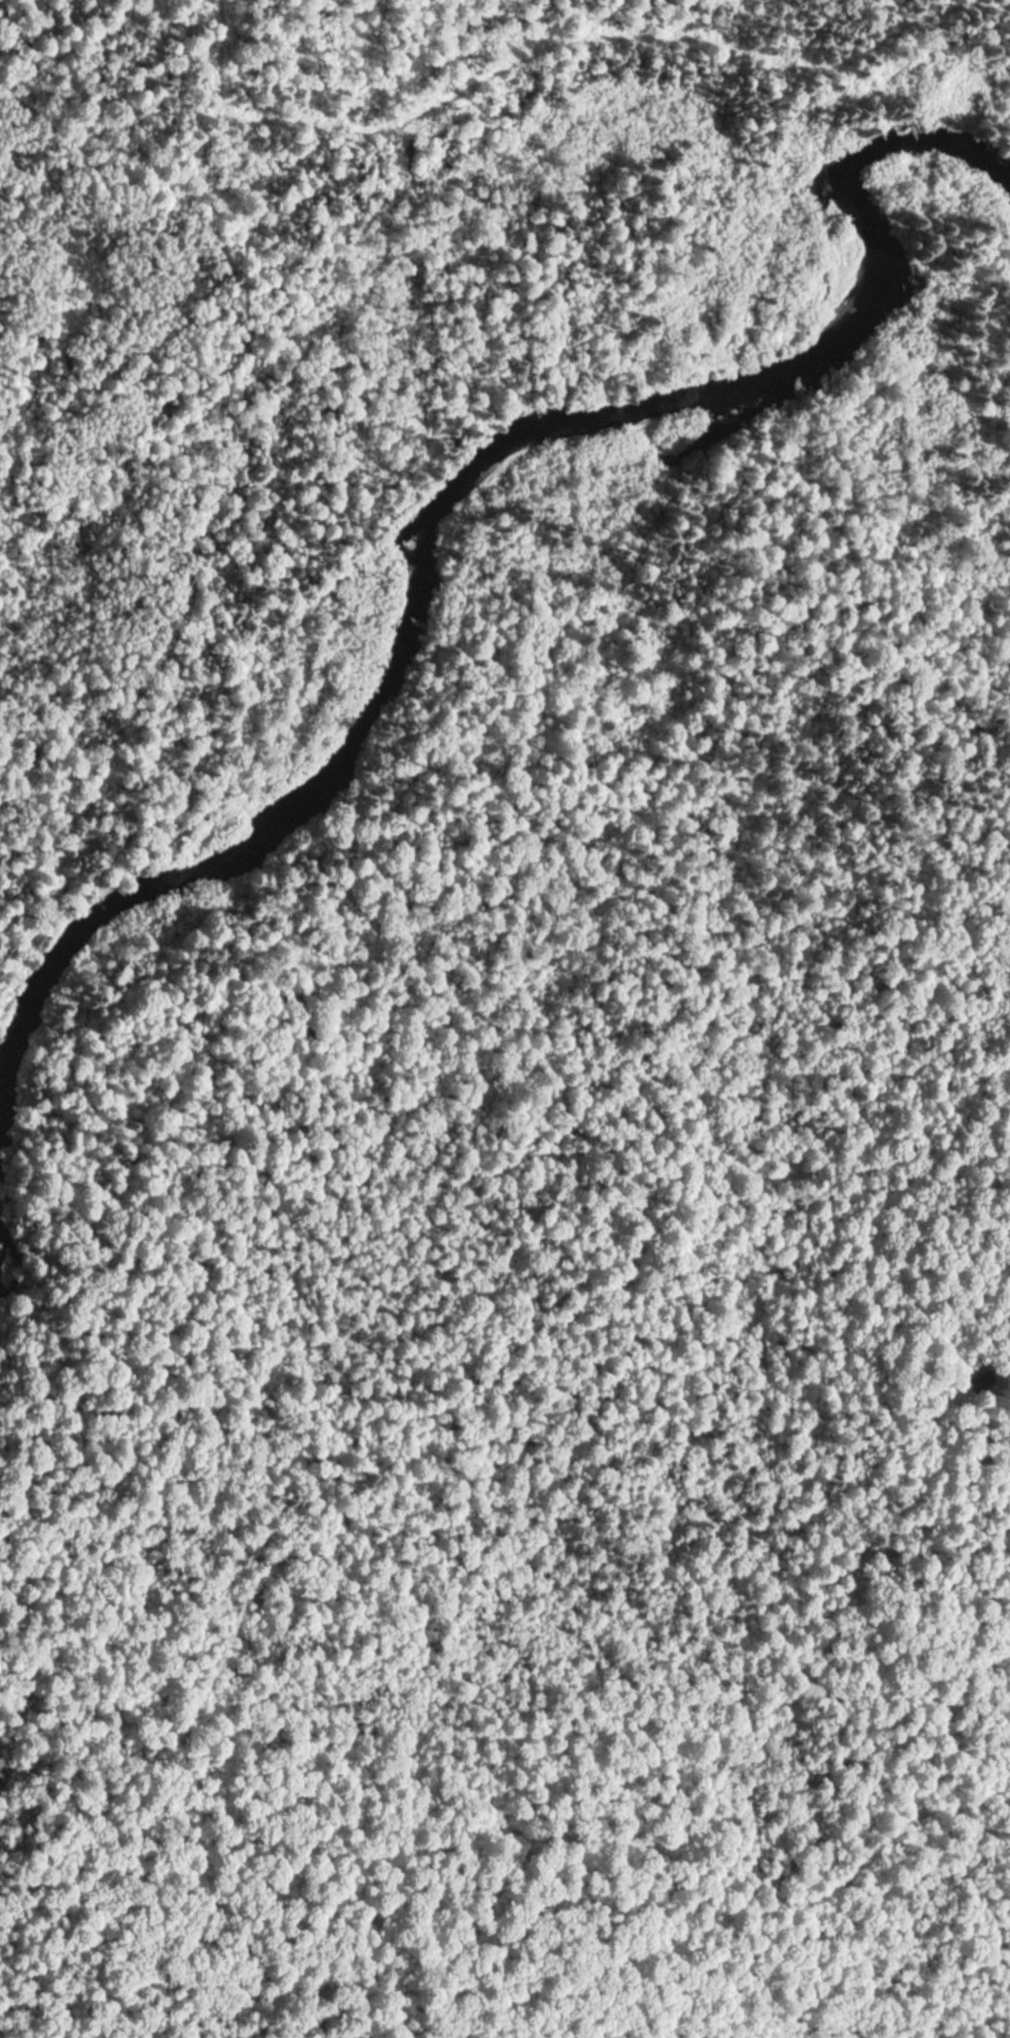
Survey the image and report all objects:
river: (471, 511)

